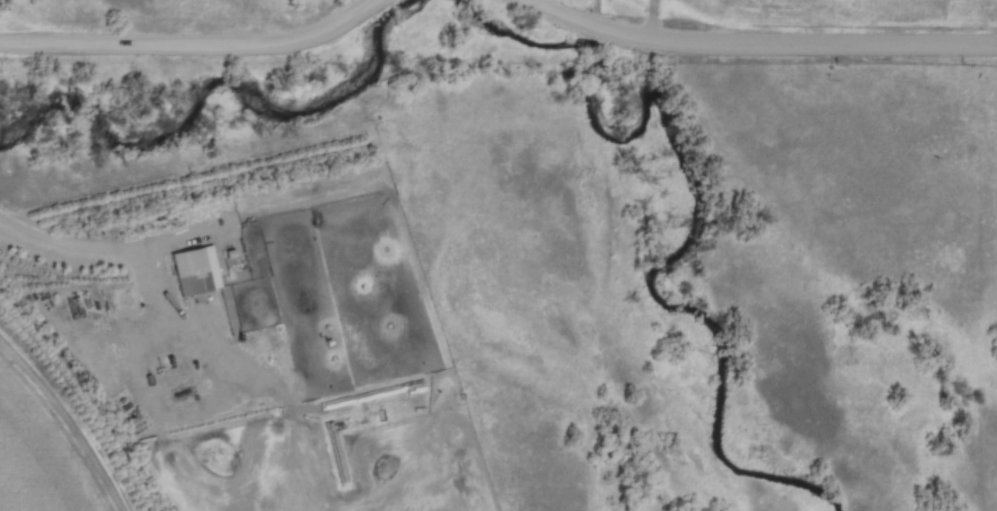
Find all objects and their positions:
road: (764, 39)
road: (195, 45)
road: (108, 248)
building: (201, 272)
crop: (354, 294)
road: (218, 325)
road: (177, 394)
crop: (46, 447)
crop: (337, 461)

